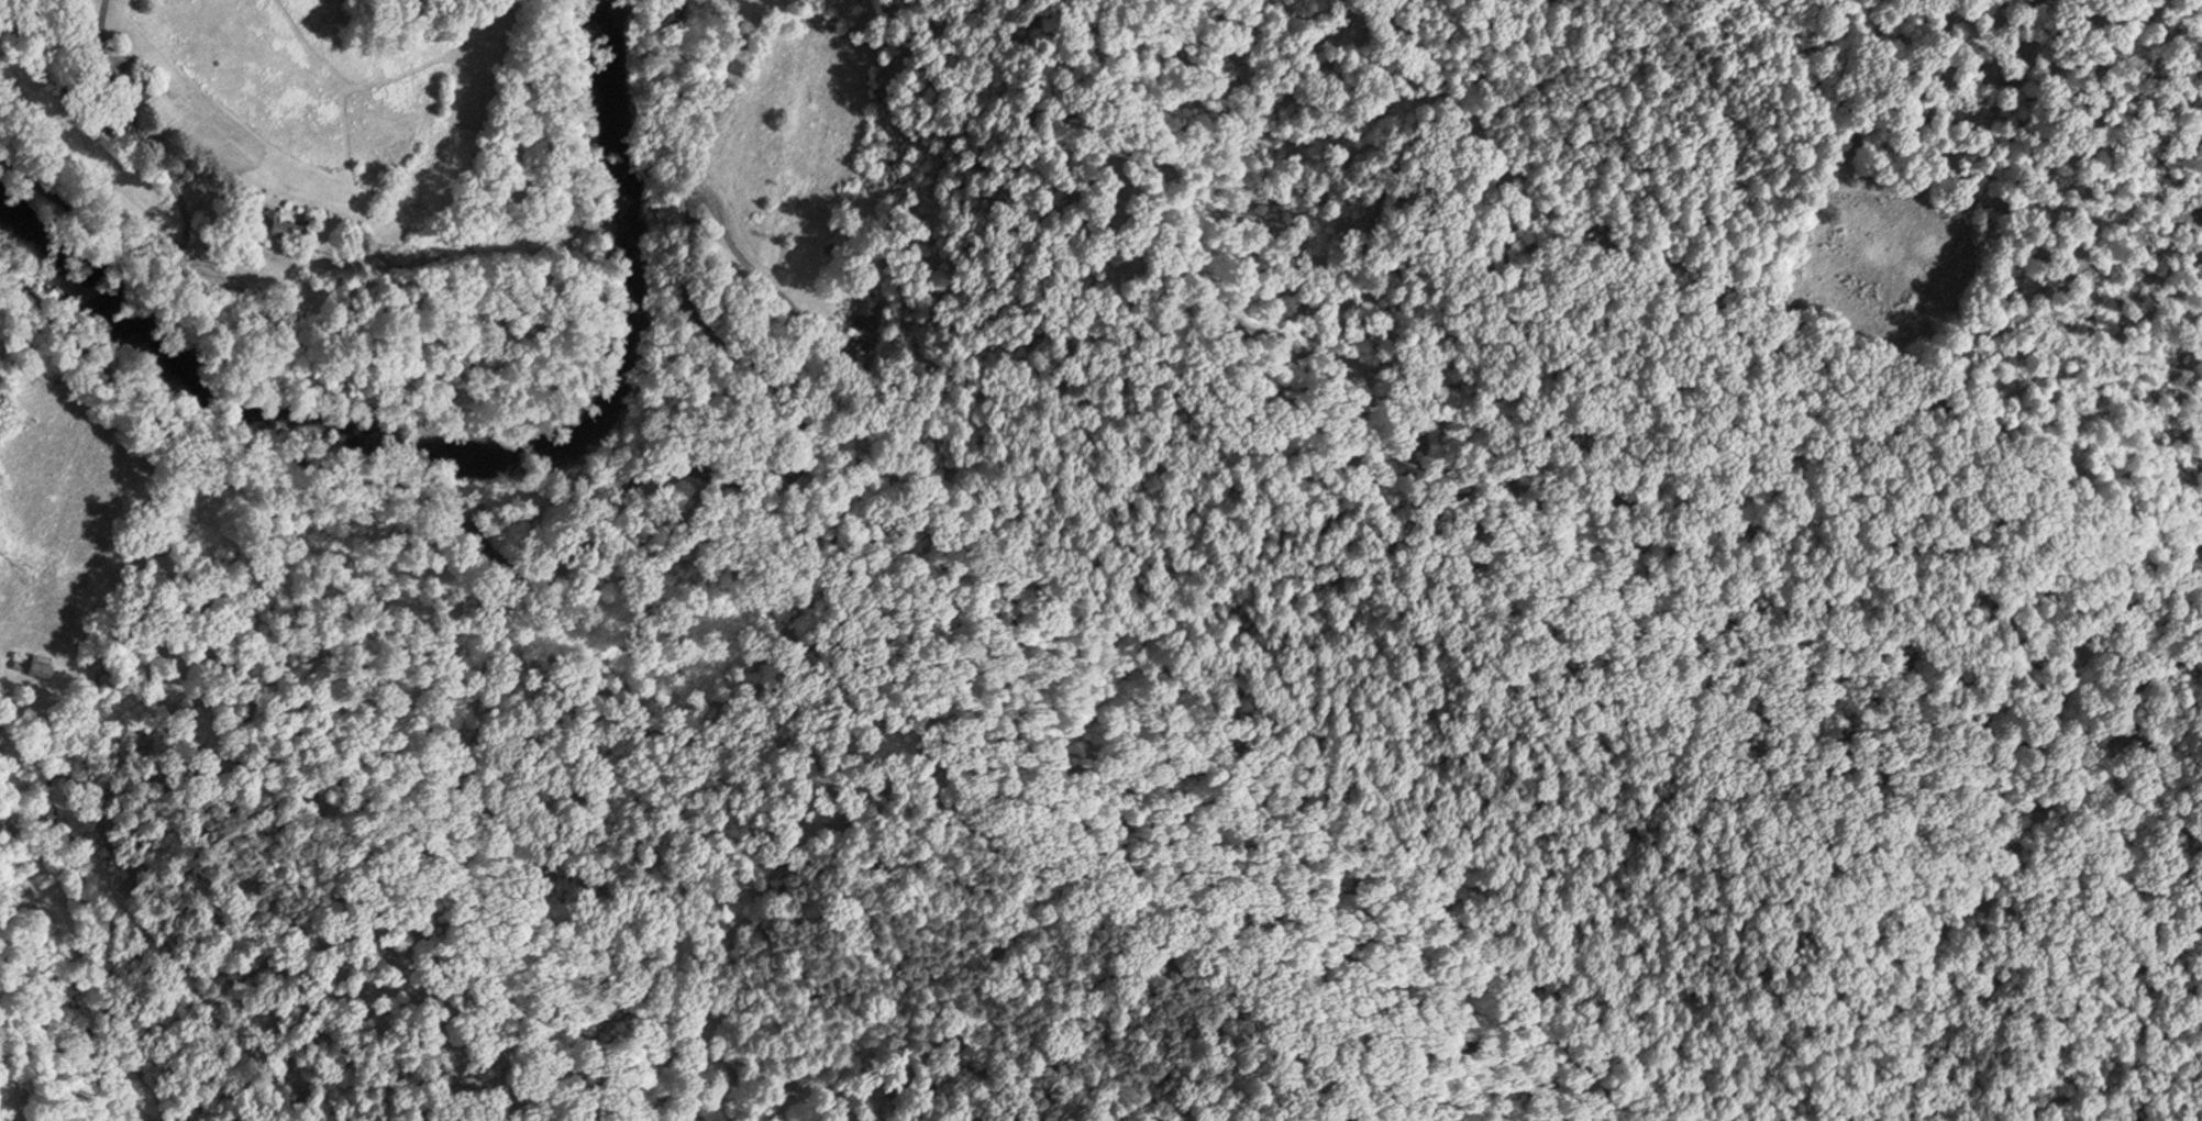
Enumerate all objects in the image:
building: (144, 87)
road: (173, 277)
building: (865, 309)
road: (135, 414)
river: (457, 419)
road: (783, 491)
building: (38, 663)

